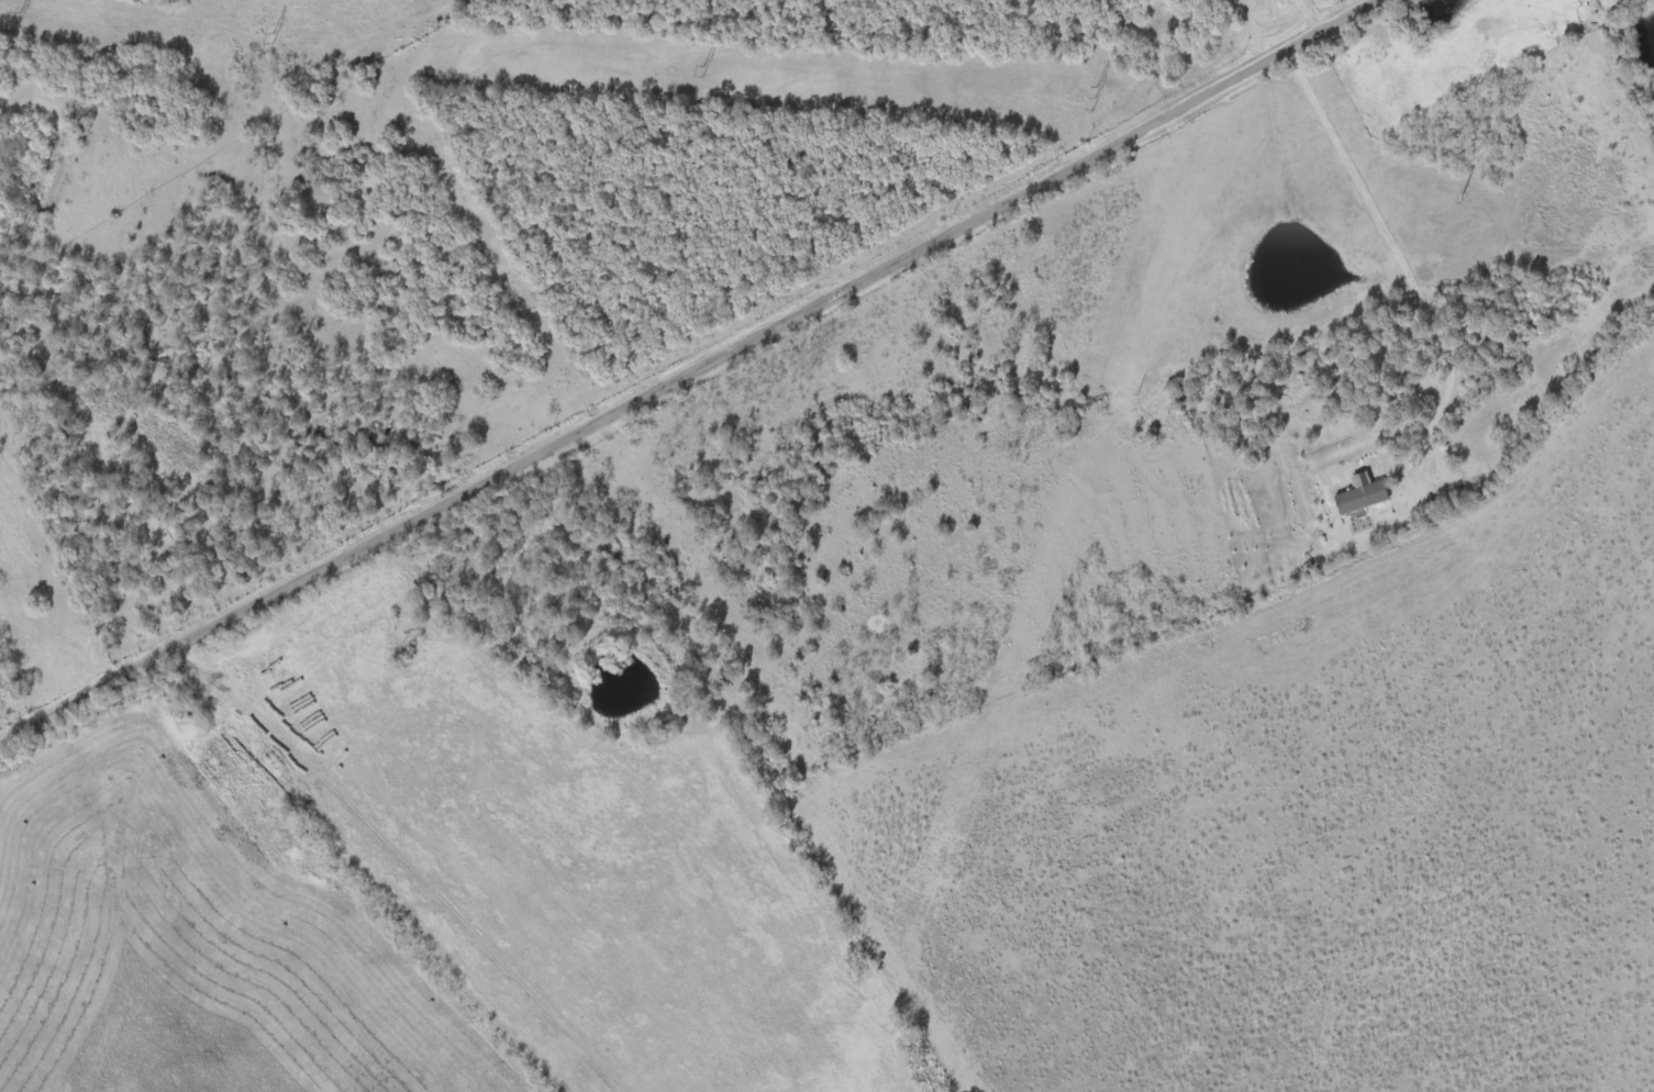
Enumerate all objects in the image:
power tower: (20, 15)
power tower: (271, 37)
power tower: (701, 70)
power tower: (1095, 98)
power tower: (1462, 197)
road: (693, 378)
building: (1361, 495)

